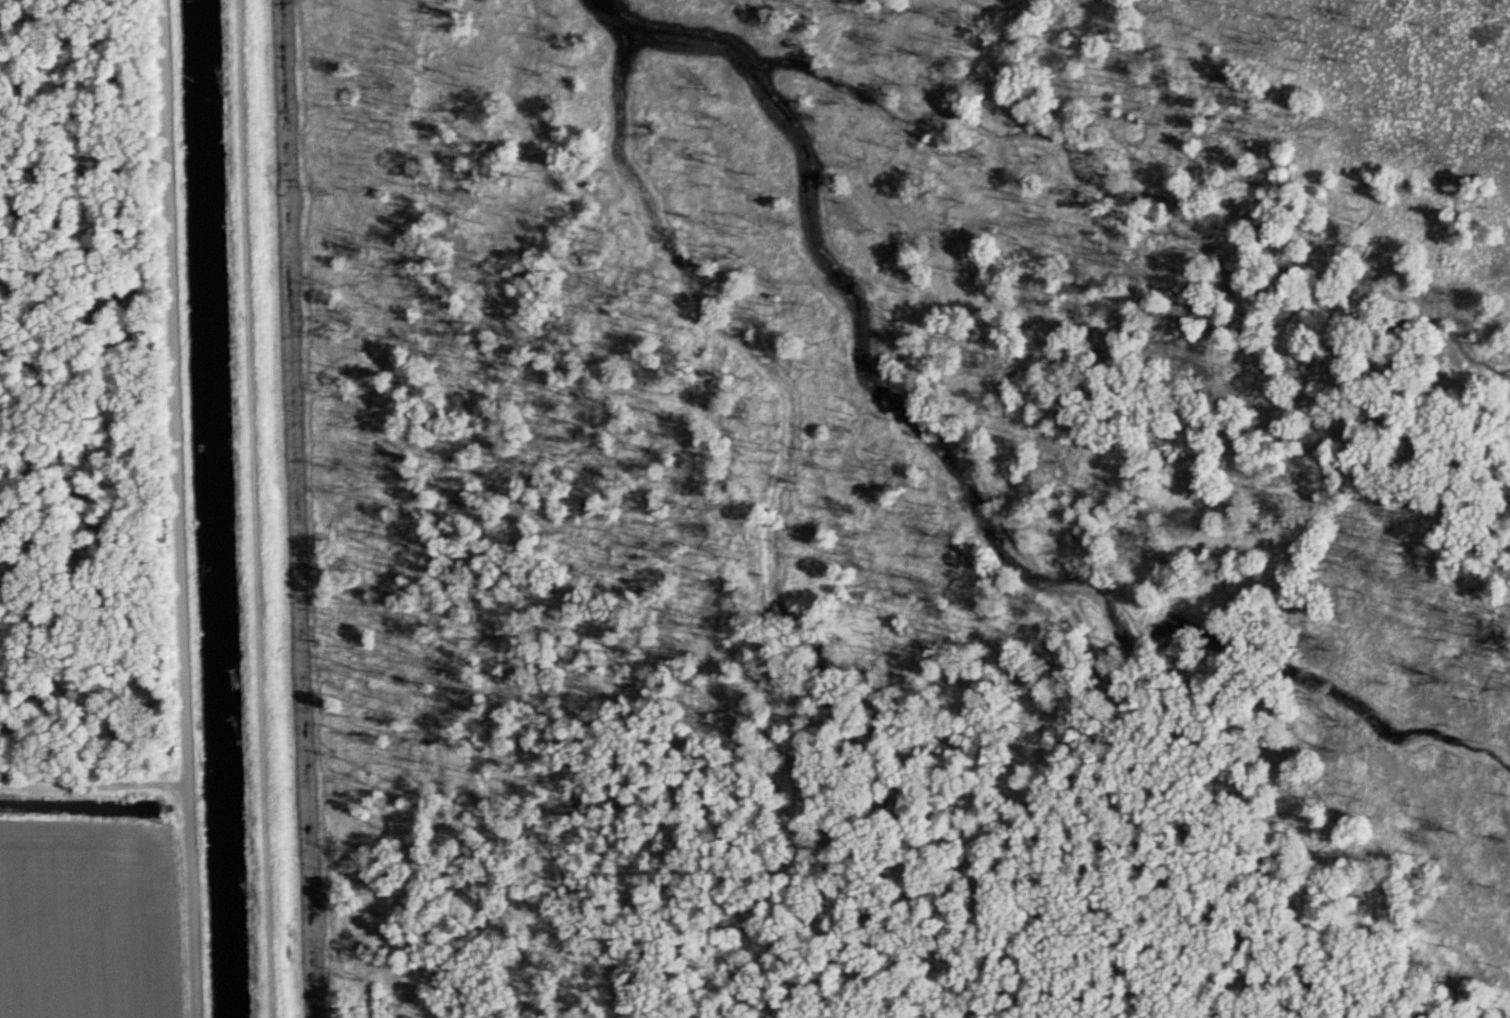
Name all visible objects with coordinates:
road: (169, 509)

